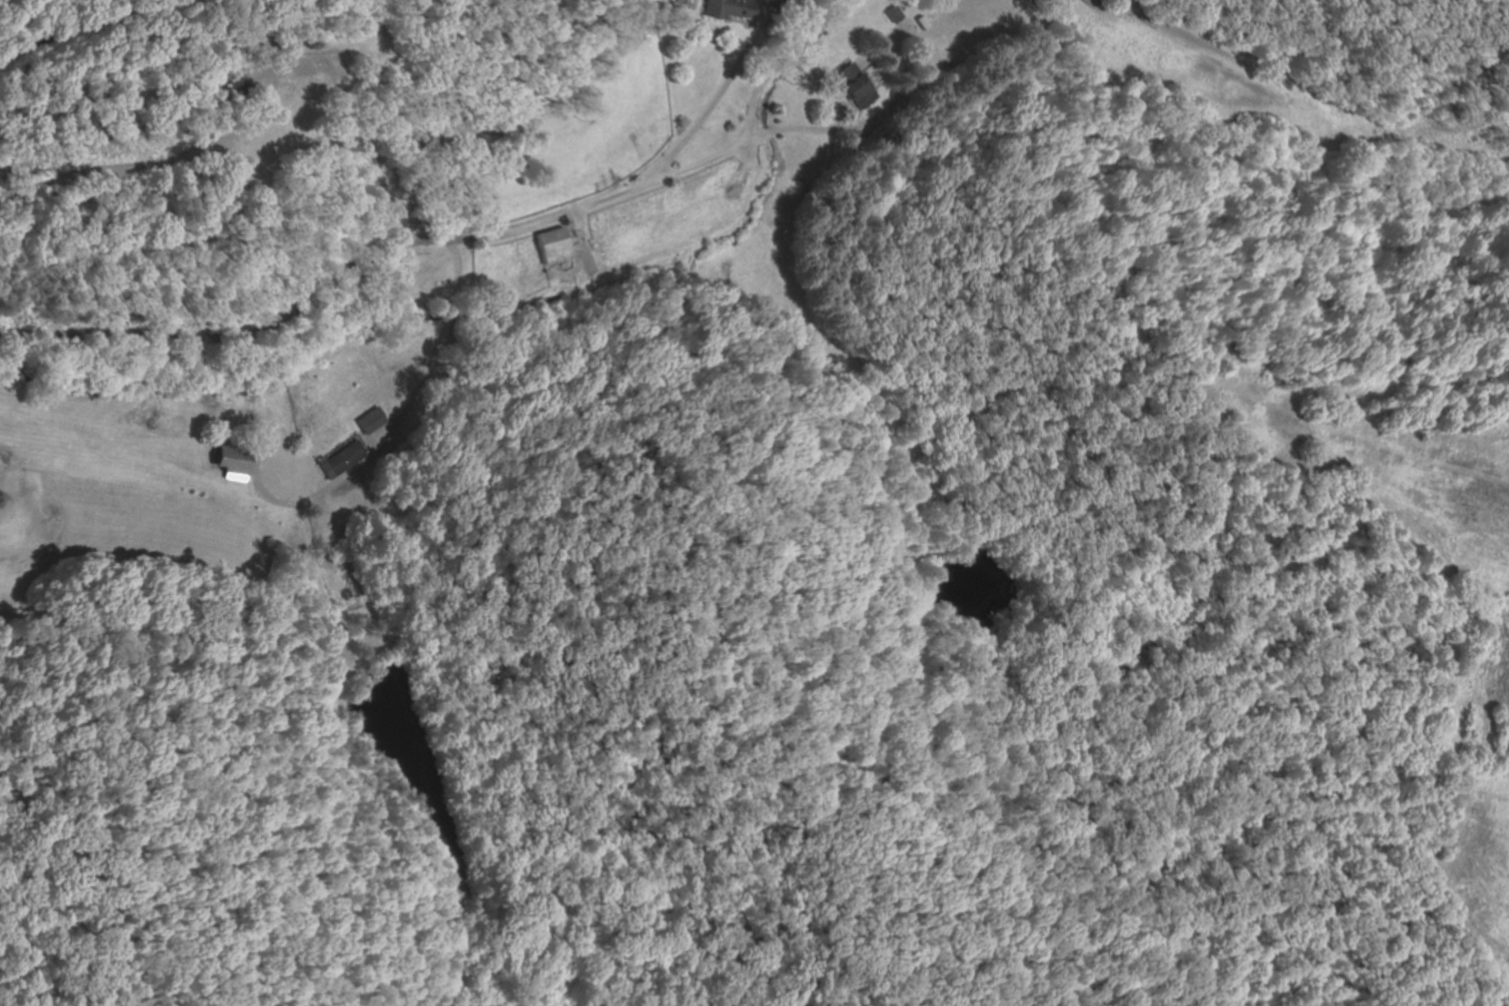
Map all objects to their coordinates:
building: (726, 10)
building: (298, 76)
building: (552, 248)
road: (324, 289)

